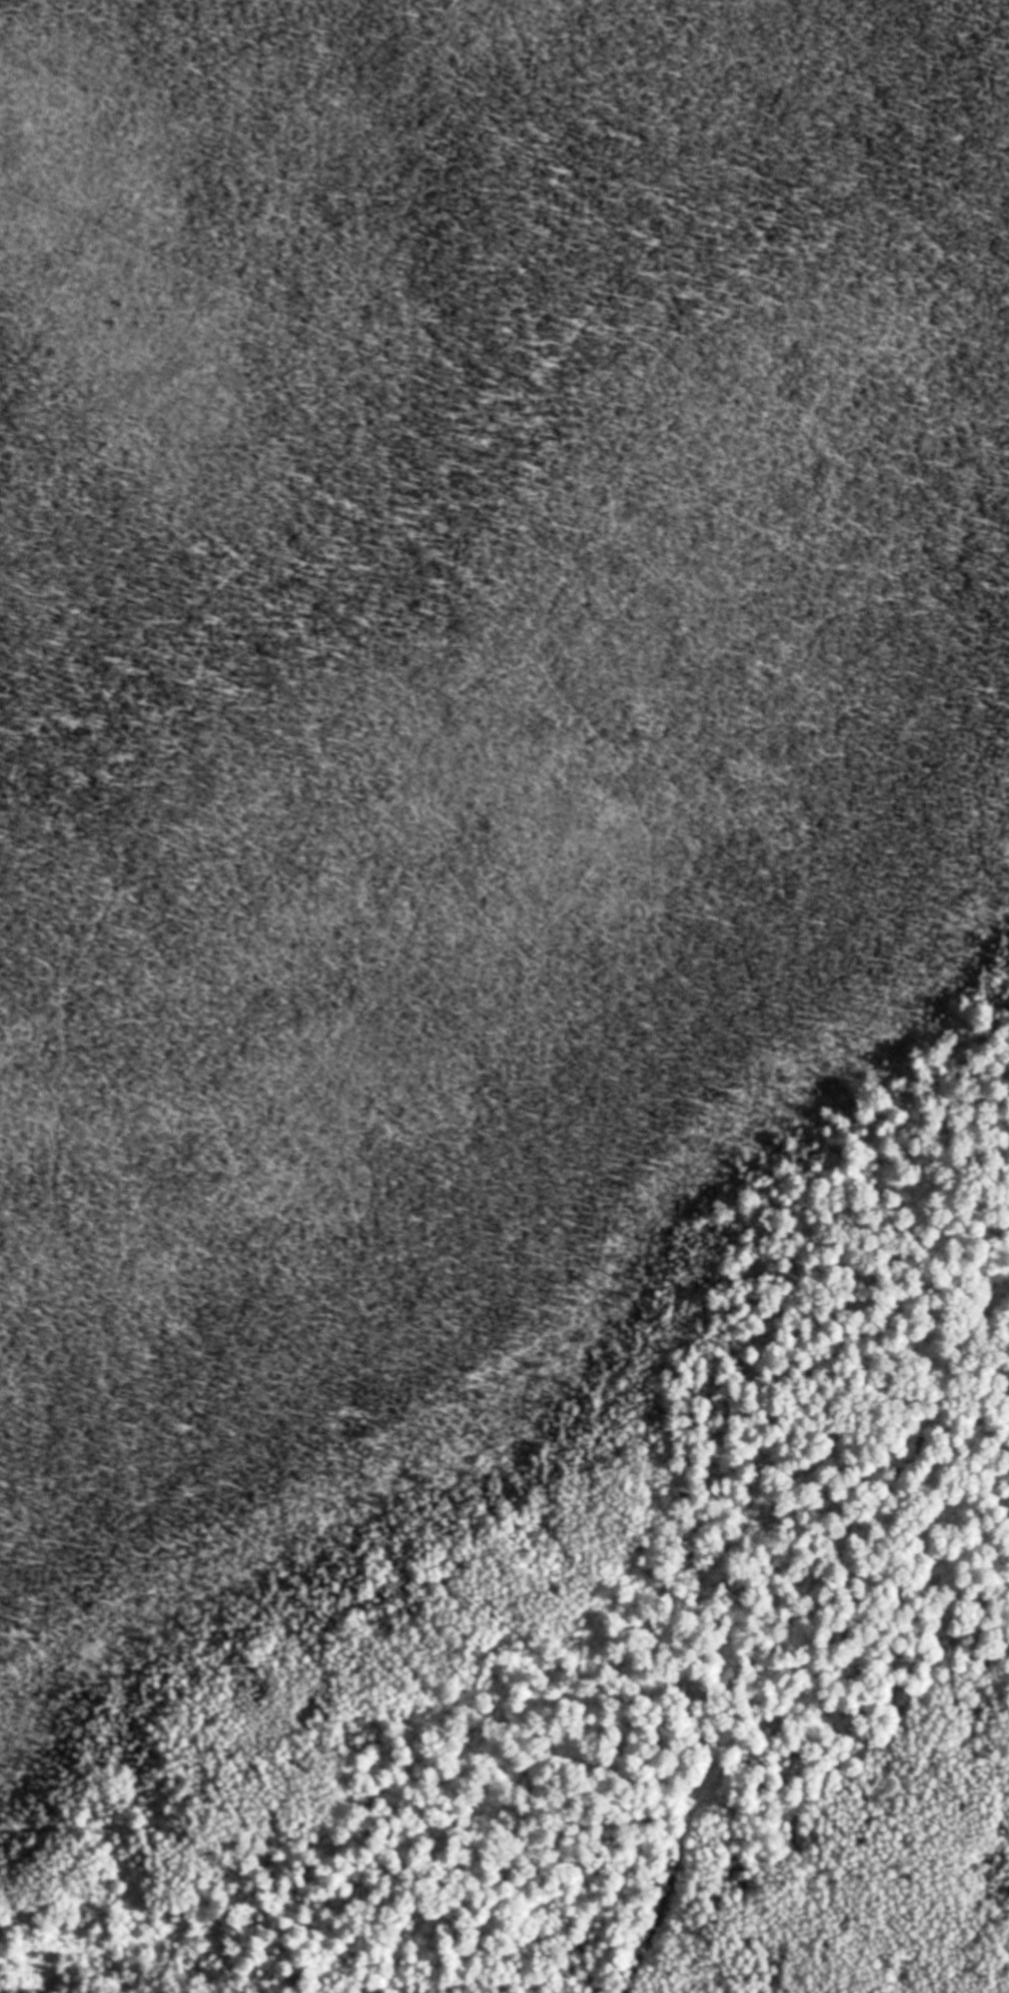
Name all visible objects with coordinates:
road: (639, 1978)

